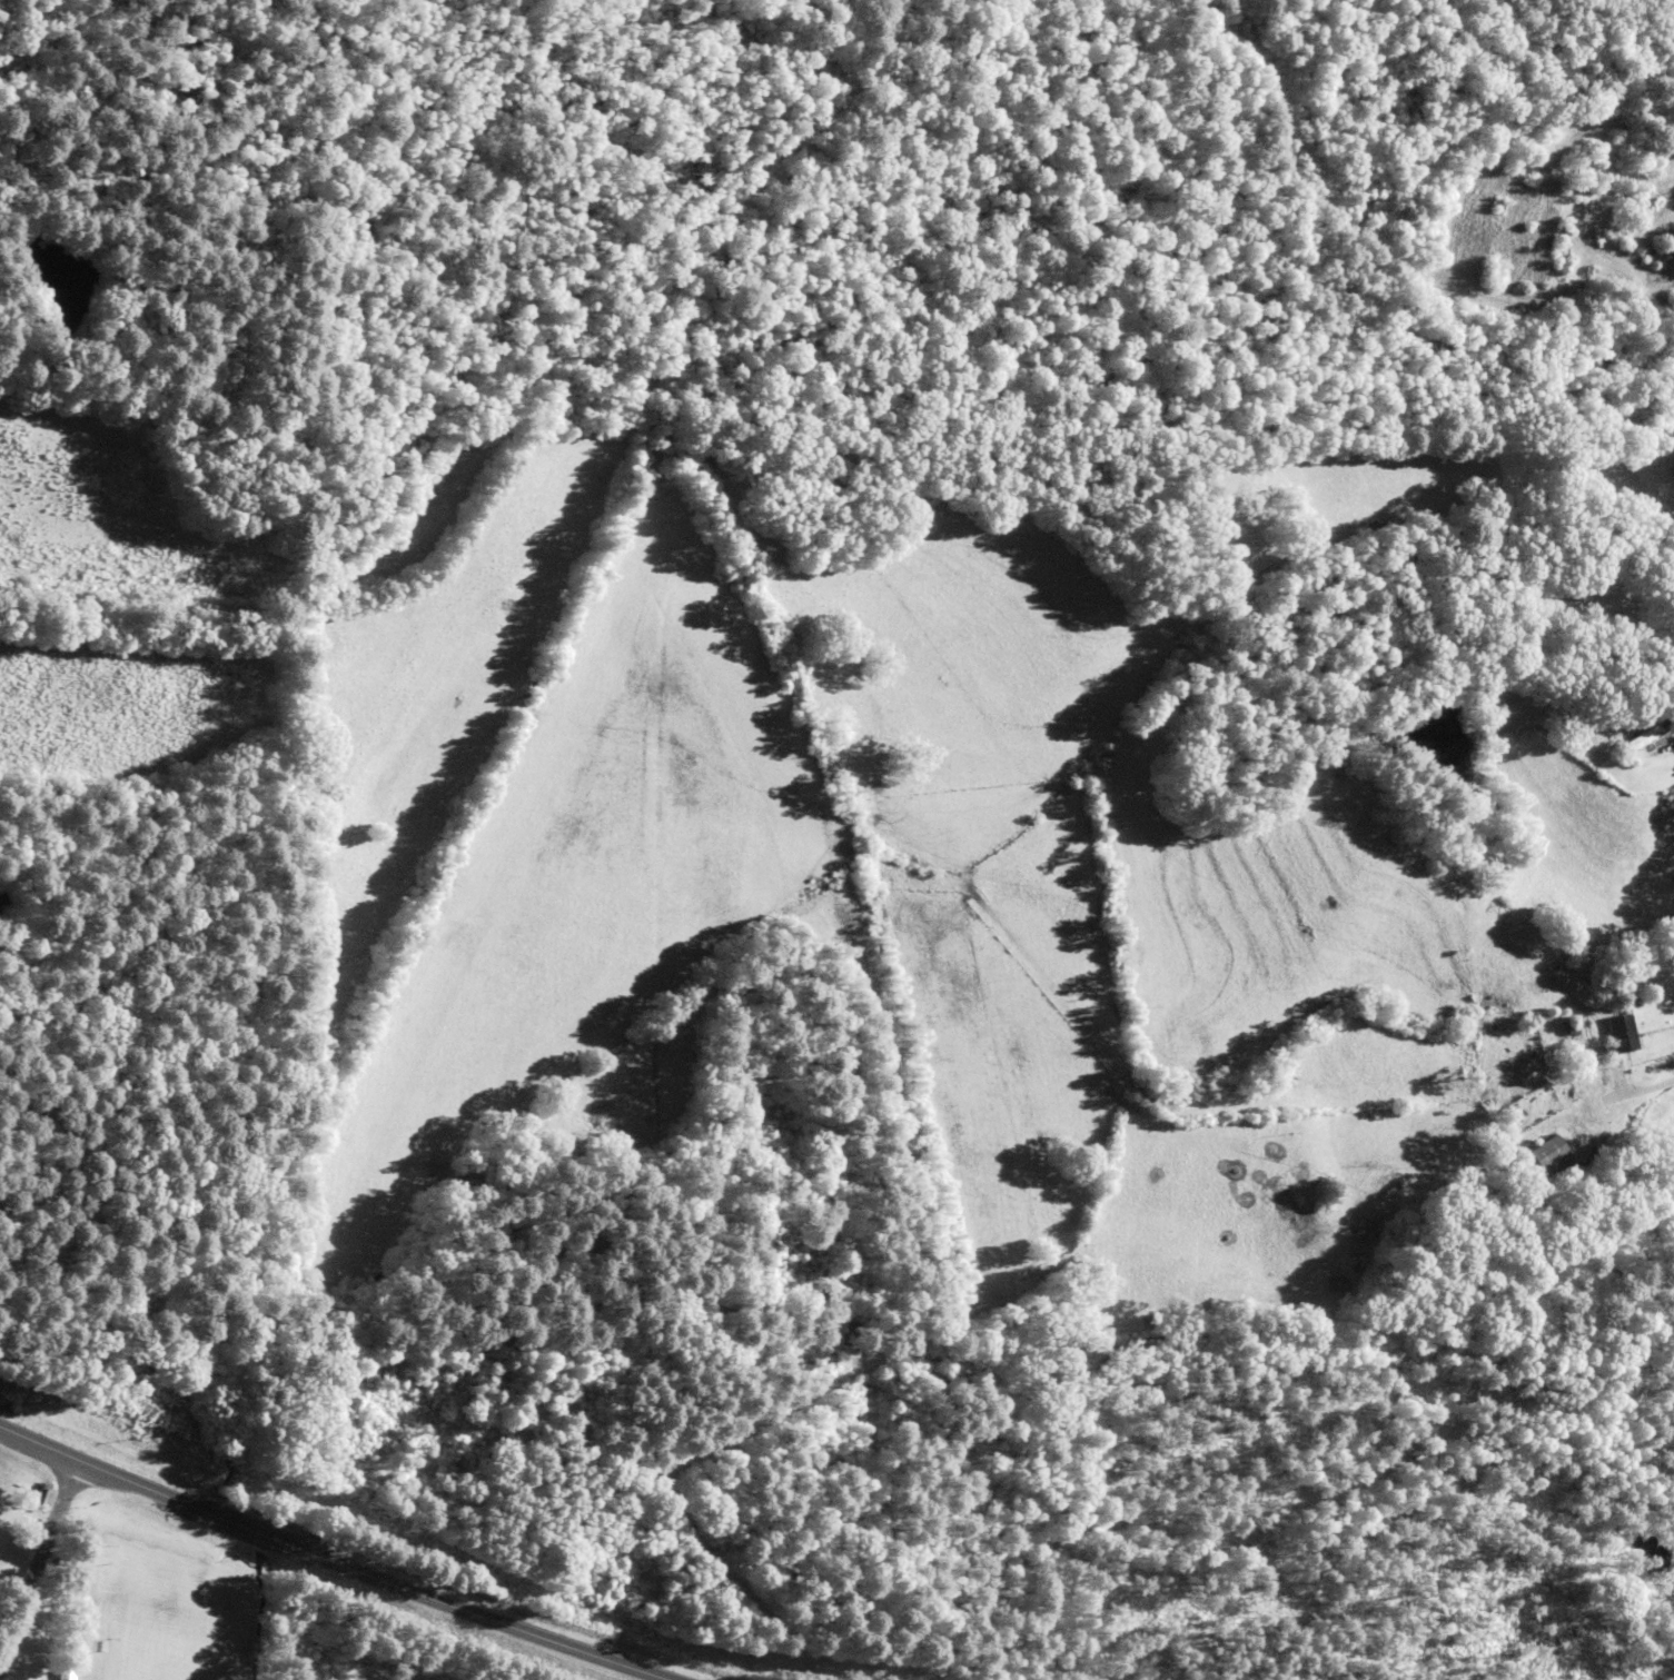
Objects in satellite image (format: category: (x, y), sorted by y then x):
building: (1575, 178)
building: (1636, 737)
building: (1616, 1033)
building: (1543, 1155)
road: (331, 1561)
road: (40, 1563)

